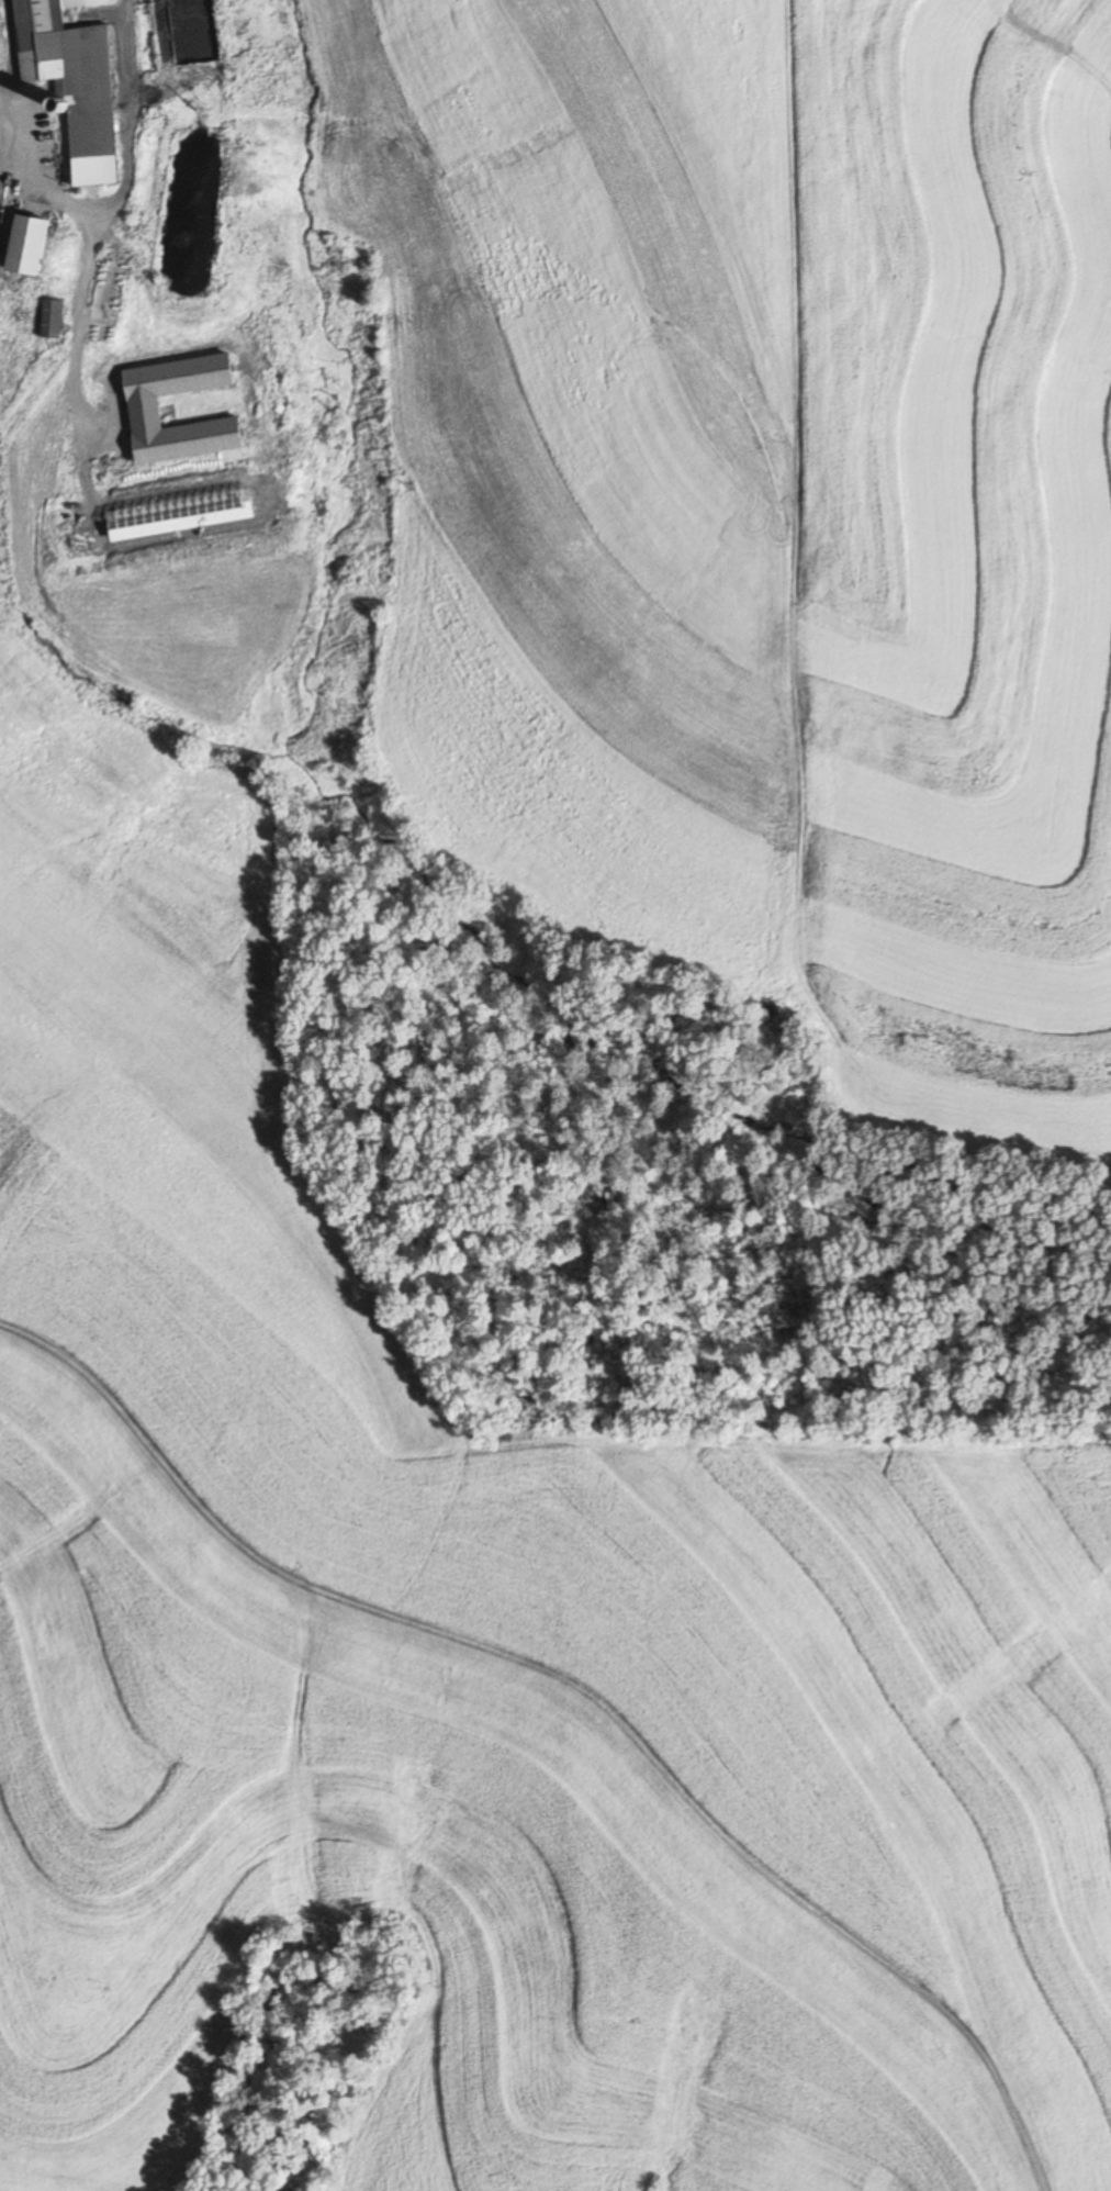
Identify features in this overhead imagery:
building: (74, 83)
road: (41, 114)
building: (30, 244)
building: (52, 318)

